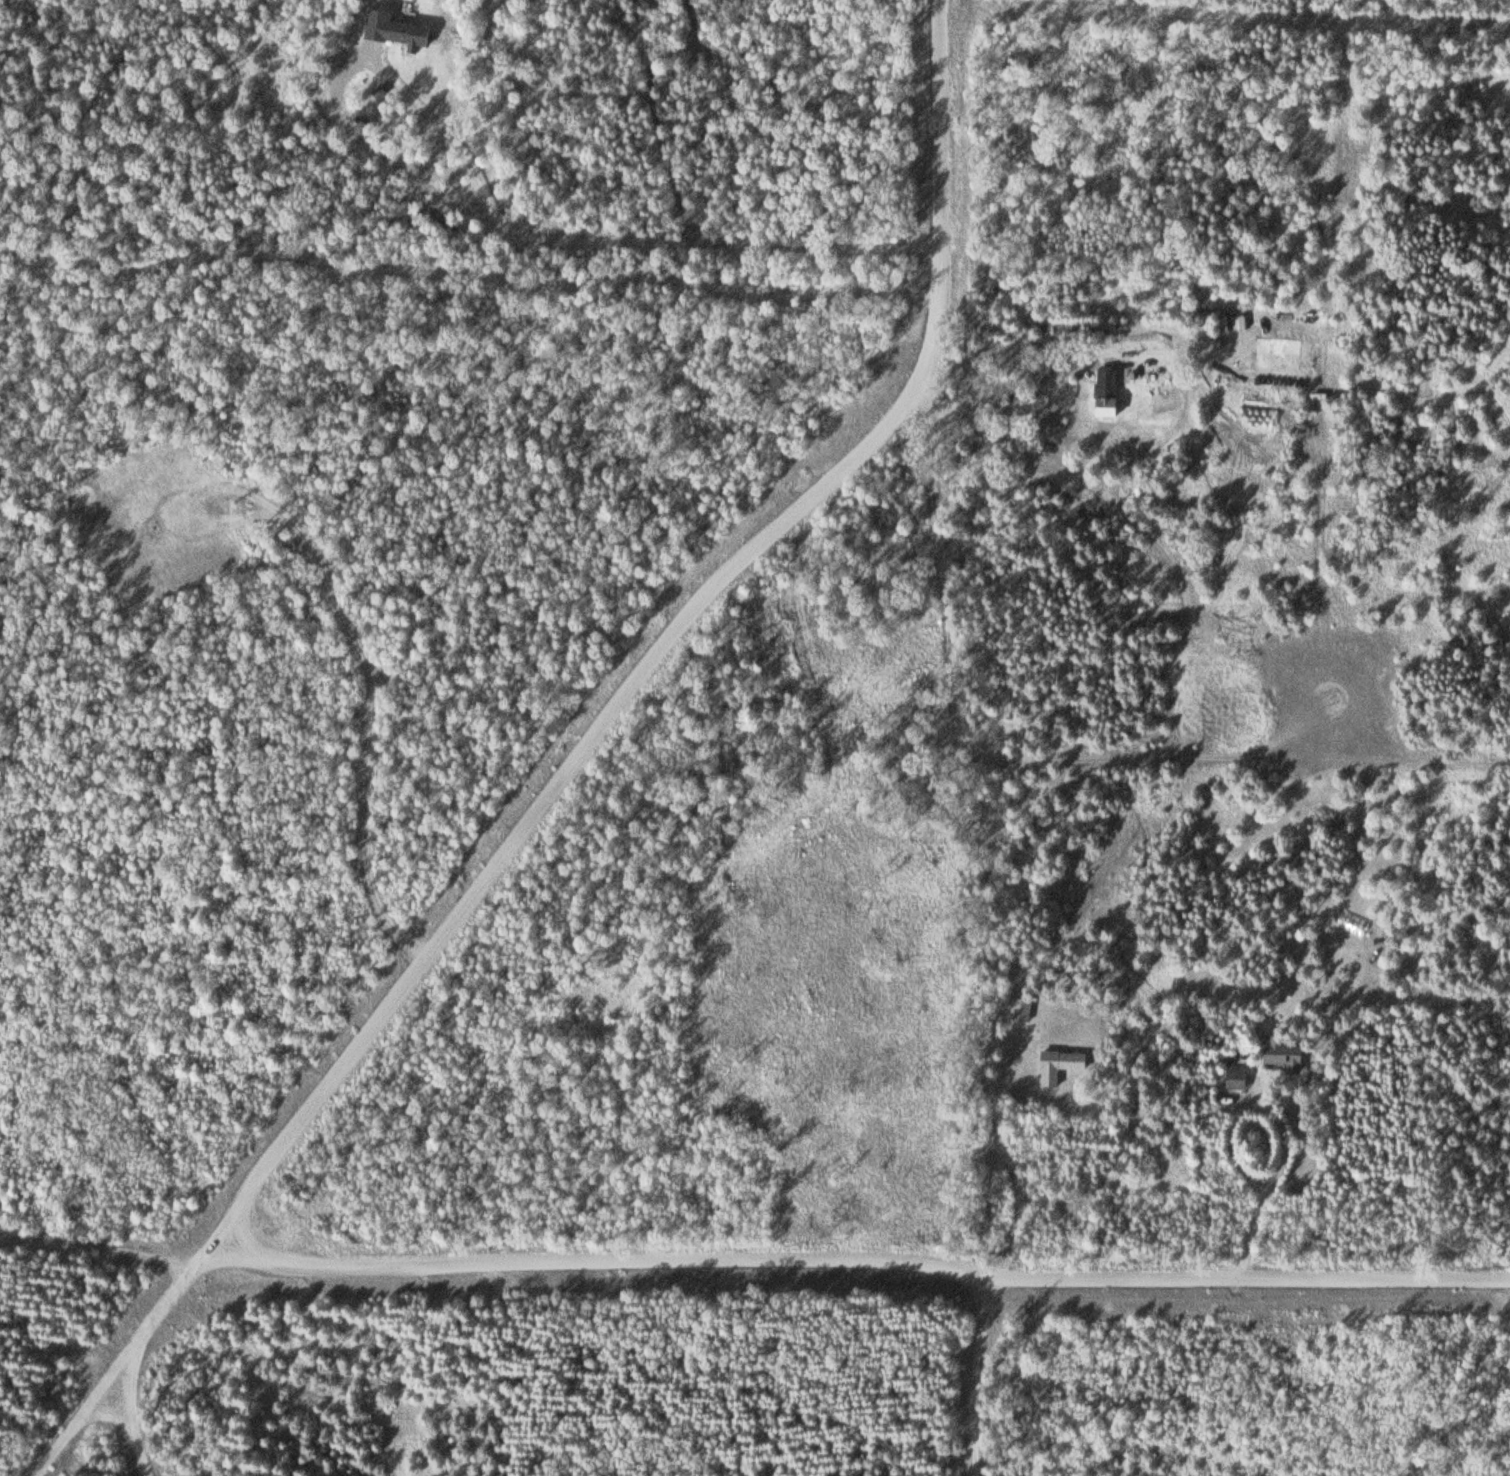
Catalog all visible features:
building: (410, 34)
road: (656, 245)
road: (470, 267)
building: (1109, 392)
road: (661, 651)
road: (372, 729)
road: (1030, 761)
building: (1025, 1010)
building: (1287, 1055)
building: (1066, 1066)
building: (1240, 1078)
road: (106, 1256)
road: (860, 1274)
road: (130, 1368)
road: (993, 1377)
road: (140, 1426)

